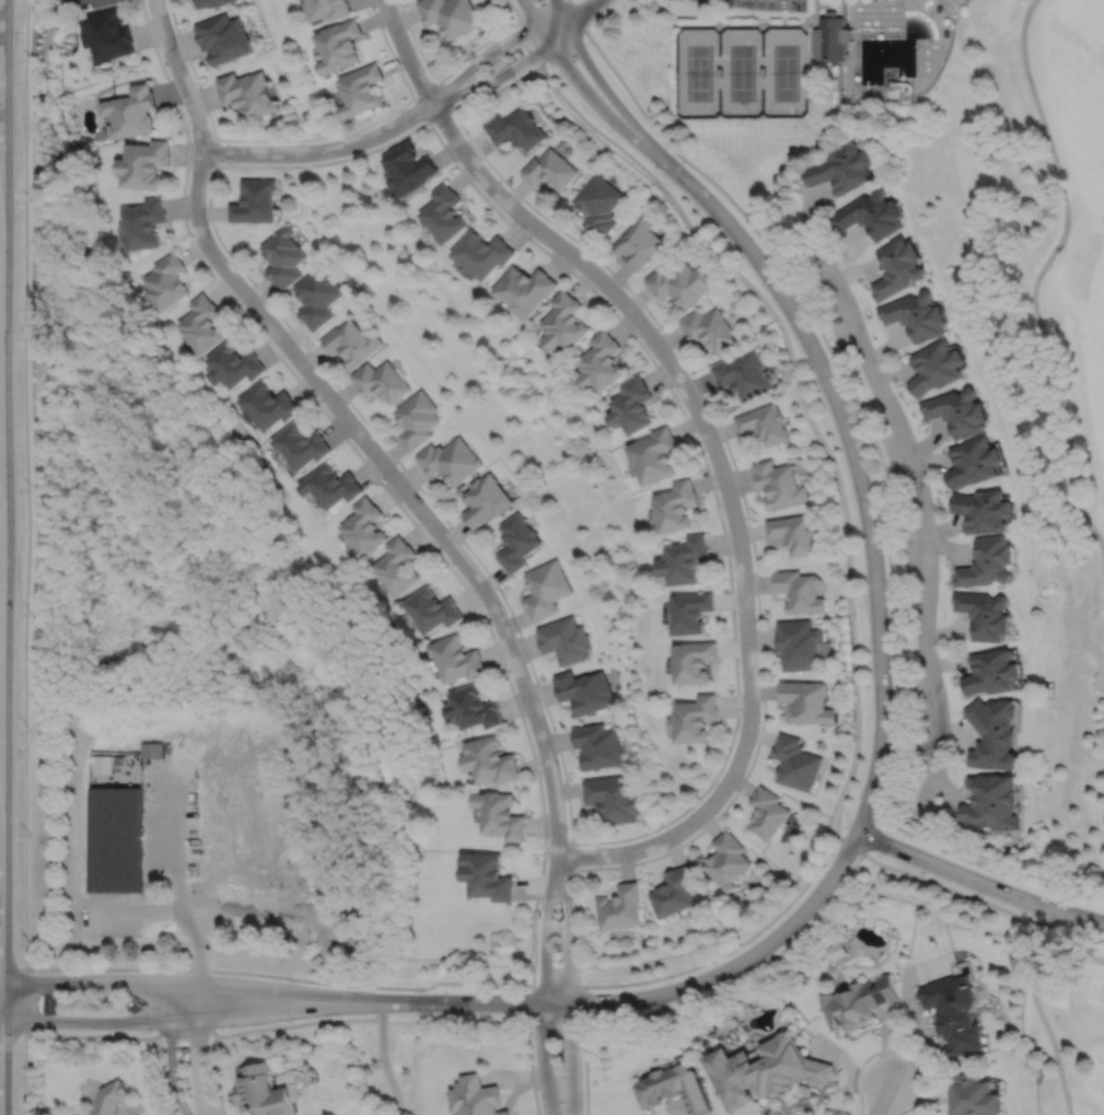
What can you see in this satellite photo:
building: (69, 0)
park: (579, 0)
building: (74, 1)
building: (102, 1)
building: (209, 2)
parking lot: (766, 3)
building: (329, 9)
road: (515, 9)
road: (544, 9)
road: (581, 10)
road: (577, 13)
building: (833, 13)
building: (450, 14)
building: (108, 32)
building: (223, 36)
building: (833, 38)
street lamp: (492, 40)
road: (532, 43)
building: (340, 44)
road: (492, 50)
road: (405, 51)
street lamp: (553, 63)
road: (505, 70)
park: (742, 71)
road: (442, 77)
street lamp: (513, 77)
road: (597, 77)
street lamp: (433, 80)
road: (439, 81)
road: (579, 81)
building: (361, 88)
building: (248, 92)
road: (412, 96)
road: (449, 105)
road: (452, 106)
building: (131, 109)
building: (515, 127)
street lamp: (188, 129)
street lamp: (613, 129)
road: (298, 139)
road: (322, 149)
road: (211, 151)
building: (143, 162)
building: (409, 166)
building: (844, 167)
building: (549, 169)
building: (255, 199)
building: (596, 202)
street lamp: (695, 205)
building: (444, 213)
building: (870, 213)
building: (144, 222)
building: (637, 242)
building: (484, 252)
building: (283, 256)
road: (822, 259)
park: (1044, 260)
building: (897, 266)
road: (1037, 274)
building: (166, 281)
building: (679, 282)
building: (525, 288)
street lamp: (766, 290)
building: (316, 295)
building: (915, 315)
building: (565, 322)
building: (201, 324)
parking lot: (837, 324)
building: (709, 328)
building: (350, 342)
building: (602, 362)
building: (232, 364)
building: (934, 367)
building: (742, 374)
building: (381, 381)
road: (848, 383)
street lamp: (820, 388)
street lamp: (316, 398)
building: (267, 404)
building: (634, 405)
road: (806, 406)
building: (958, 411)
building: (417, 419)
building: (764, 423)
road: (352, 426)
building: (299, 445)
building: (654, 455)
road: (855, 458)
road: (731, 460)
parking lot: (894, 460)
building: (450, 461)
building: (973, 462)
road: (379, 478)
road: (24, 483)
building: (778, 484)
building: (329, 486)
road: (727, 488)
street lamp: (851, 493)
building: (485, 500)
building: (676, 506)
building: (983, 511)
building: (364, 530)
road: (926, 532)
building: (792, 534)
building: (516, 542)
parking lot: (910, 554)
building: (685, 560)
building: (987, 564)
building: (397, 568)
building: (546, 590)
building: (799, 591)
street lamp: (865, 603)
building: (432, 609)
building: (693, 612)
building: (985, 615)
building: (565, 640)
building: (798, 644)
building: (456, 659)
building: (695, 661)
street lamp: (505, 667)
building: (991, 674)
building: (585, 692)
parking lot: (920, 701)
building: (806, 702)
building: (473, 709)
street lamp: (871, 716)
building: (697, 719)
building: (993, 734)
building: (597, 747)
building: (152, 750)
building: (490, 762)
building: (98, 763)
building: (794, 764)
road: (719, 766)
street lamp: (743, 770)
building: (613, 798)
building: (991, 802)
park: (1103, 803)
road: (931, 812)
building: (768, 813)
building: (501, 815)
street lamp: (850, 817)
road: (174, 818)
road: (870, 832)
building: (114, 836)
road: (849, 844)
street lamp: (883, 853)
street lamp: (546, 856)
building: (728, 859)
road: (989, 867)
road: (556, 872)
building: (486, 873)
road: (978, 880)
building: (675, 890)
street lamp: (981, 894)
street lamp: (1054, 896)
street lamp: (827, 899)
road: (980, 899)
building: (620, 906)
road: (136, 916)
road: (545, 927)
road: (568, 927)
street lamp: (578, 939)
street lamp: (536, 940)
road: (200, 946)
road: (731, 949)
building: (836, 949)
street lamp: (32, 971)
street lamp: (160, 971)
road: (748, 973)
road: (281, 976)
street lamp: (736, 976)
street lamp: (673, 977)
street lamp: (291, 980)
road: (182, 982)
road: (557, 986)
street lamp: (420, 990)
road: (644, 996)
road: (25, 998)
building: (853, 1003)
road: (1036, 1007)
street lamp: (601, 1012)
building: (954, 1012)
street lamp: (420, 1014)
road: (556, 1014)
street lamp: (290, 1019)
road: (367, 1019)
road: (182, 1020)
park: (1066, 1025)
road: (14, 1029)
street lamp: (150, 1030)
street lamp: (32, 1031)
road: (184, 1031)
road: (92, 1034)
building: (416, 1037)
street lamp: (530, 1039)
road: (196, 1048)
road: (170, 1049)
park: (387, 1058)
road: (570, 1058)
road: (382, 1059)
road: (544, 1059)
road: (585, 1064)
road: (530, 1066)
building: (765, 1069)
road: (858, 1069)
road: (23, 1073)
road: (216, 1073)
road: (161, 1076)
building: (676, 1085)
building: (265, 1090)
road: (919, 1091)
building: (975, 1094)
building: (476, 1096)
road: (881, 1096)
building: (112, 1097)

